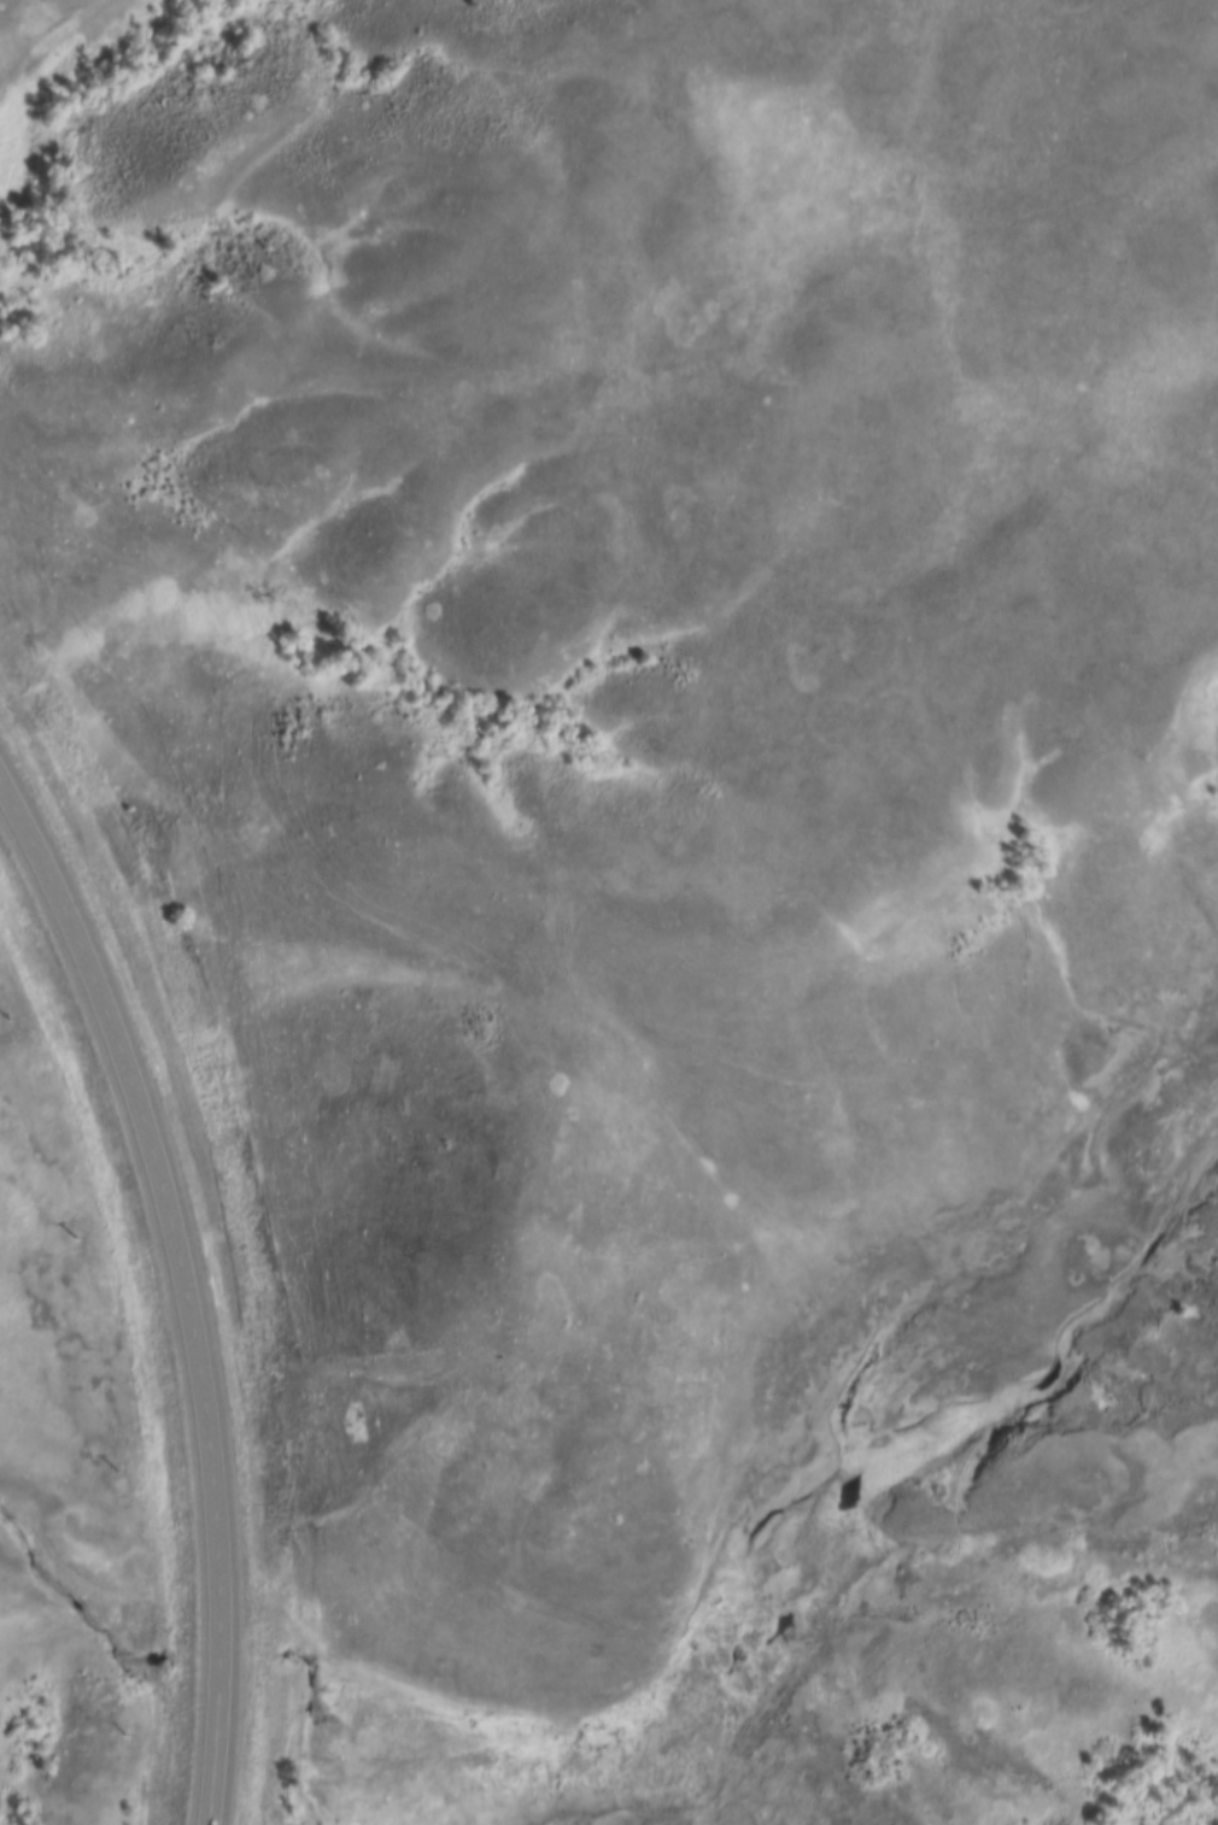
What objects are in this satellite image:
road: (187, 1287)

